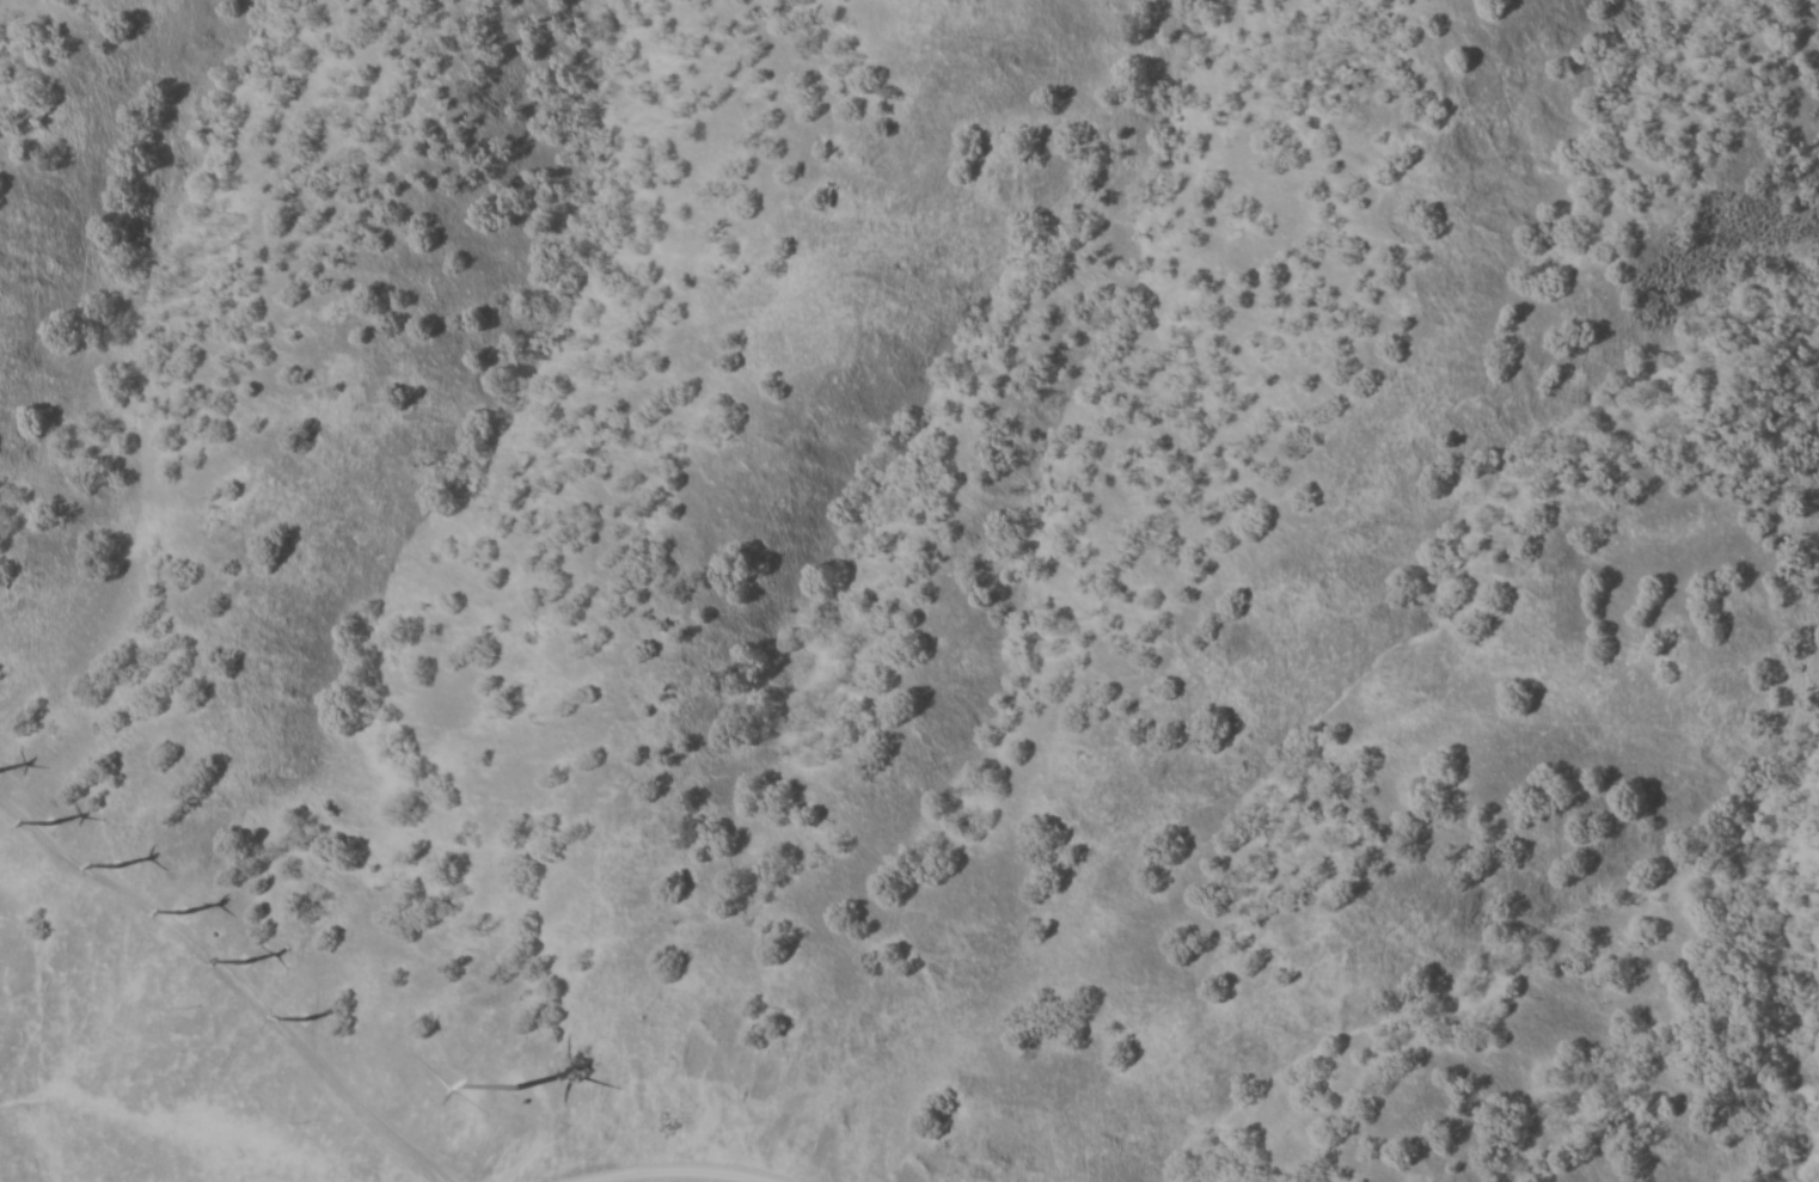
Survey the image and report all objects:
wind turbine: (60, 820)
wind turbine: (117, 861)
wind turbine: (201, 906)
wind turbine: (261, 959)
road: (233, 978)
wind turbine: (320, 1018)
road: (509, 1071)
wind turbine: (521, 1083)
road: (533, 1155)
road: (680, 1169)
road: (446, 1181)

